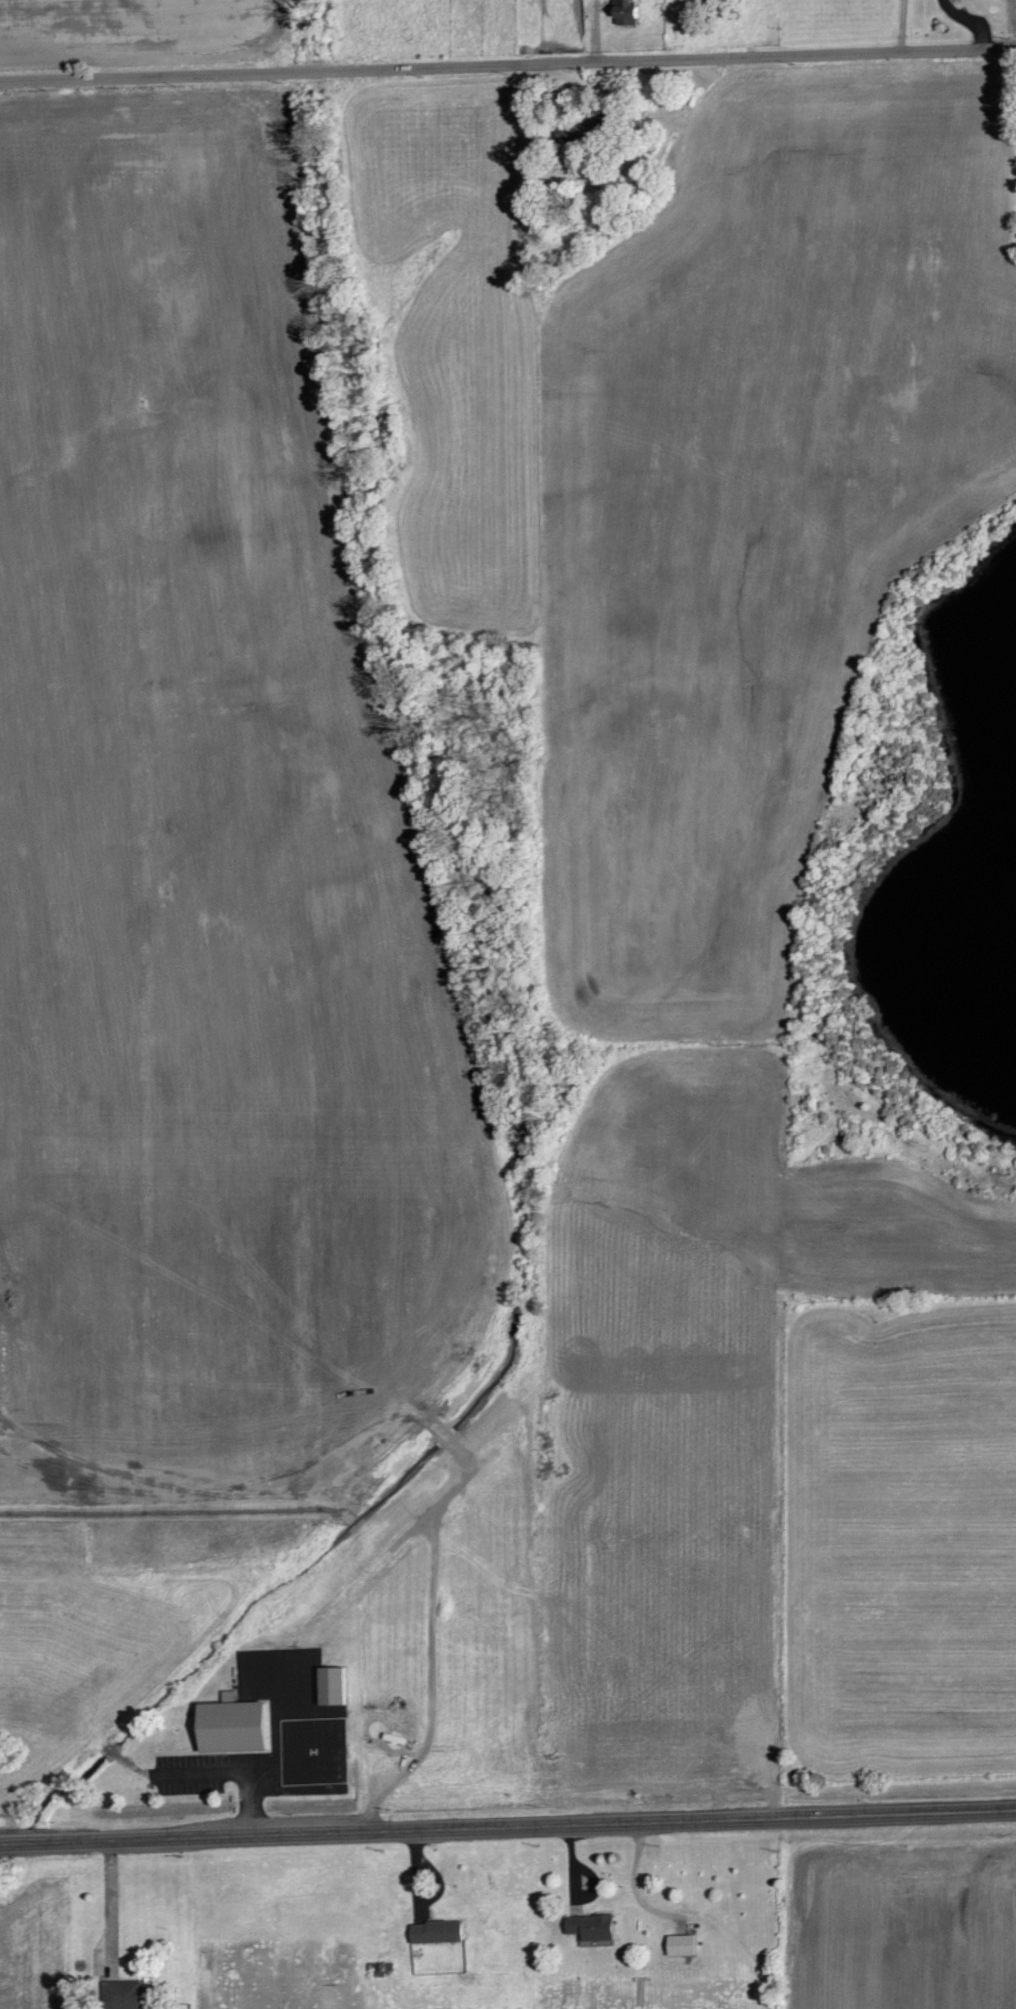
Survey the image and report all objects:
building: (627, 12)
road: (969, 21)
road: (910, 26)
road: (508, 64)
building: (335, 1687)
building: (232, 1724)
road: (286, 1768)
road: (247, 1803)
road: (528, 1825)
road: (21, 1843)
road: (634, 1881)
road: (109, 1905)
building: (595, 1927)
building: (438, 1931)
building: (684, 1945)
building: (131, 1994)

